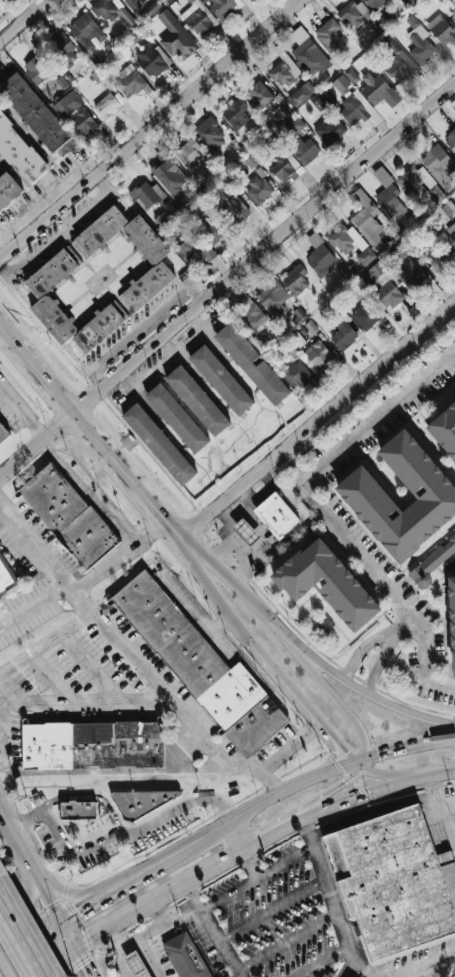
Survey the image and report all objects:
building: (374, 3)
building: (411, 3)
building: (452, 3)
building: (132, 4)
building: (153, 7)
building: (224, 7)
building: (112, 12)
building: (198, 18)
road: (24, 20)
building: (443, 31)
building: (86, 32)
building: (329, 32)
building: (176, 38)
building: (421, 46)
building: (63, 50)
building: (307, 54)
building: (152, 60)
building: (397, 62)
building: (36, 70)
building: (285, 71)
building: (346, 81)
building: (129, 82)
building: (377, 90)
building: (301, 94)
building: (258, 96)
building: (68, 104)
building: (318, 104)
building: (109, 105)
building: (355, 109)
building: (282, 110)
building: (235, 115)
building: (36, 116)
building: (84, 123)
building: (294, 125)
road: (150, 130)
building: (328, 131)
building: (210, 134)
building: (450, 141)
building: (304, 151)
building: (19, 152)
building: (189, 155)
building: (250, 162)
building: (438, 164)
building: (284, 169)
building: (168, 173)
building: (420, 184)
building: (258, 191)
building: (8, 192)
building: (146, 195)
building: (387, 195)
building: (169, 208)
building: (448, 208)
building: (236, 210)
building: (367, 220)
building: (216, 231)
building: (450, 233)
building: (350, 245)
road: (264, 247)
building: (194, 252)
building: (399, 252)
building: (437, 252)
building: (319, 257)
building: (154, 260)
building: (373, 274)
building: (412, 276)
building: (296, 281)
building: (388, 295)
building: (273, 298)
building: (46, 303)
building: (298, 314)
building: (250, 315)
building: (367, 315)
road: (4, 335)
road: (207, 336)
building: (343, 336)
building: (290, 350)
building: (318, 355)
building: (251, 365)
building: (297, 375)
building: (221, 381)
building: (197, 402)
road: (22, 411)
building: (177, 419)
road: (318, 422)
road: (380, 427)
road: (89, 429)
building: (445, 429)
building: (3, 435)
road: (37, 444)
building: (159, 445)
road: (294, 473)
road: (269, 487)
road: (88, 491)
building: (364, 494)
road: (247, 505)
building: (277, 516)
building: (68, 517)
road: (227, 521)
building: (246, 533)
road: (239, 548)
road: (118, 555)
building: (432, 564)
building: (7, 581)
building: (327, 583)
road: (392, 591)
road: (33, 605)
road: (193, 613)
building: (452, 620)
road: (218, 624)
road: (402, 624)
road: (114, 638)
road: (47, 647)
road: (360, 649)
road: (302, 653)
road: (378, 664)
building: (201, 668)
road: (290, 690)
road: (85, 701)
building: (92, 746)
road: (405, 748)
road: (277, 756)
road: (333, 758)
road: (358, 759)
traffic signals: (358, 763)
road: (451, 771)
road: (102, 772)
road: (271, 781)
road: (88, 797)
road: (268, 800)
road: (352, 801)
building: (141, 803)
road: (442, 810)
building: (78, 811)
road: (112, 835)
road: (14, 838)
road: (285, 861)
road: (250, 864)
road: (34, 871)
road: (144, 872)
building: (393, 884)
road: (228, 892)
road: (27, 893)
road: (167, 894)
road: (70, 896)
road: (331, 898)
road: (50, 901)
road: (82, 907)
road: (271, 909)
traffic signals: (77, 911)
road: (212, 930)
road: (67, 934)
road: (22, 938)
road: (30, 940)
road: (286, 941)
building: (183, 956)
road: (320, 960)
traffic signals: (53, 961)
road: (51, 962)
road: (82, 962)
road: (432, 962)
traffic signals: (84, 964)
building: (136, 965)
gas station: (136, 965)
road: (3, 969)
road: (364, 972)

